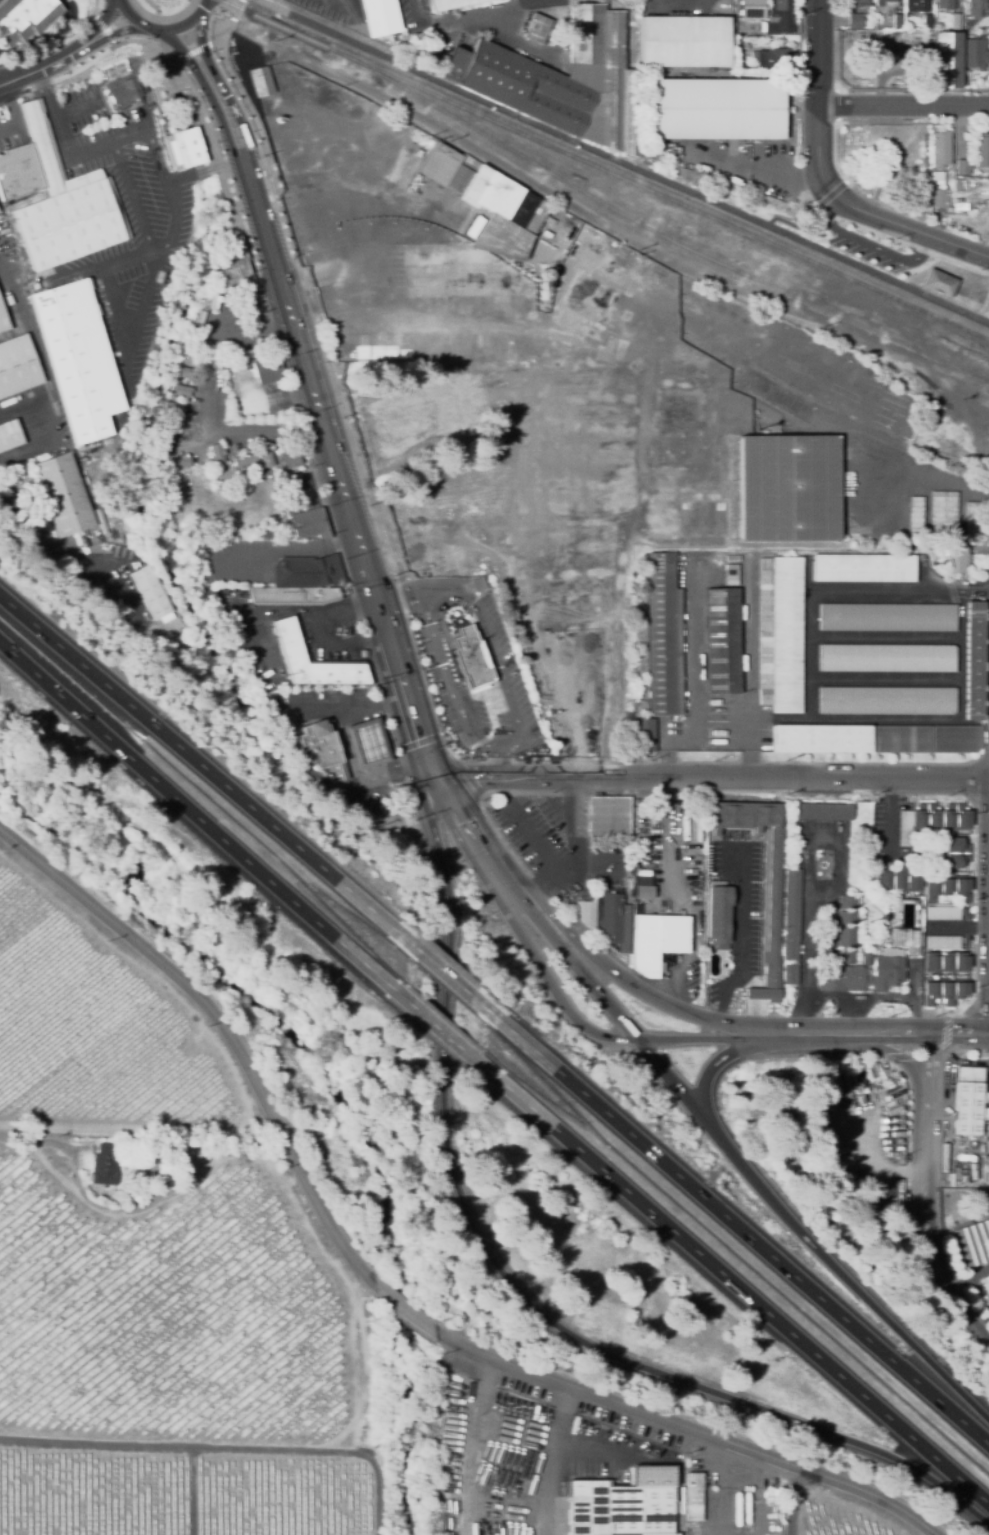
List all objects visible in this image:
road: (538, 0)
road: (541, 0)
building: (637, 2)
building: (885, 2)
road: (206, 3)
building: (856, 3)
building: (452, 4)
building: (944, 4)
building: (915, 5)
building: (978, 8)
building: (749, 10)
road: (468, 14)
building: (380, 16)
building: (779, 18)
building: (25, 20)
building: (854, 21)
building: (897, 21)
building: (927, 22)
building: (955, 22)
building: (762, 24)
road: (97, 25)
road: (162, 29)
building: (536, 29)
road: (113, 33)
building: (398, 41)
building: (684, 43)
building: (740, 44)
building: (972, 52)
road: (818, 53)
building: (988, 55)
building: (773, 59)
building: (943, 60)
road: (39, 68)
building: (116, 70)
building: (261, 81)
road: (219, 83)
building: (519, 86)
road: (204, 87)
building: (124, 91)
road: (903, 106)
road: (77, 109)
building: (715, 110)
road: (14, 114)
building: (182, 147)
building: (940, 149)
building: (983, 151)
road: (68, 157)
road: (622, 161)
building: (962, 167)
railway: (604, 170)
road: (188, 173)
building: (936, 178)
building: (957, 185)
road: (136, 191)
building: (939, 198)
building: (56, 199)
building: (960, 206)
road: (311, 207)
road: (865, 214)
building: (293, 220)
building: (586, 227)
railway: (656, 232)
road: (405, 235)
building: (482, 235)
railway: (782, 235)
road: (870, 244)
building: (235, 263)
building: (323, 273)
building: (940, 283)
building: (212, 304)
building: (587, 306)
building: (986, 307)
building: (201, 318)
building: (3, 322)
building: (429, 348)
building: (76, 358)
building: (522, 363)
building: (215, 364)
building: (17, 367)
building: (267, 369)
building: (187, 373)
building: (180, 390)
building: (782, 397)
building: (680, 403)
road: (873, 404)
building: (173, 408)
building: (419, 410)
road: (45, 432)
building: (169, 432)
building: (9, 436)
building: (674, 451)
railway: (947, 452)
building: (217, 455)
building: (290, 456)
building: (163, 459)
building: (245, 459)
building: (267, 459)
building: (182, 462)
road: (336, 470)
road: (634, 479)
building: (789, 490)
building: (63, 497)
building: (945, 515)
building: (691, 516)
building: (917, 518)
building: (972, 520)
building: (309, 524)
road: (283, 555)
building: (954, 558)
building: (864, 568)
building: (307, 572)
building: (731, 574)
building: (346, 591)
building: (149, 593)
building: (292, 594)
road: (812, 604)
road: (284, 612)
building: (888, 617)
building: (766, 631)
road: (613, 635)
building: (788, 635)
building: (664, 637)
road: (887, 637)
road: (490, 639)
road: (749, 639)
building: (722, 641)
building: (289, 643)
road: (335, 645)
building: (472, 657)
building: (888, 658)
building: (975, 662)
road: (887, 677)
road: (449, 684)
building: (888, 700)
road: (351, 705)
road: (941, 719)
road: (674, 730)
road: (748, 730)
building: (644, 735)
gas station: (341, 736)
building: (822, 738)
building: (902, 739)
building: (958, 739)
building: (367, 743)
building: (323, 749)
road: (200, 765)
road: (361, 777)
road: (712, 780)
traffic signals: (437, 782)
building: (645, 812)
building: (824, 812)
road: (575, 815)
building: (609, 817)
road: (889, 819)
building: (932, 819)
road: (199, 820)
road: (467, 828)
road: (543, 853)
building: (955, 853)
building: (916, 860)
road: (567, 861)
road: (806, 879)
building: (896, 880)
building: (947, 889)
road: (516, 890)
building: (644, 892)
building: (772, 894)
building: (846, 901)
building: (584, 911)
building: (965, 912)
building: (943, 913)
building: (793, 914)
building: (845, 916)
building: (609, 917)
building: (718, 917)
road: (741, 939)
building: (907, 940)
building: (657, 941)
building: (943, 942)
building: (845, 944)
building: (875, 947)
building: (868, 959)
building: (948, 962)
building: (889, 969)
building: (791, 974)
road: (582, 975)
building: (840, 978)
road: (546, 979)
road: (450, 981)
building: (944, 991)
road: (643, 994)
road: (877, 997)
road: (868, 1034)
road: (960, 1034)
road: (790, 1036)
road: (705, 1038)
road: (449, 1039)
road: (713, 1063)
road: (247, 1065)
road: (672, 1083)
building: (968, 1101)
building: (105, 1165)
road: (877, 1165)
building: (985, 1169)
building: (944, 1178)
road: (928, 1194)
building: (984, 1197)
road: (135, 1203)
road: (745, 1234)
building: (975, 1242)
road: (846, 1279)
road: (518, 1289)
road: (743, 1292)
road: (692, 1430)
road: (471, 1445)
road: (605, 1452)
road: (559, 1461)
road: (720, 1487)
building: (745, 1488)
road: (757, 1494)
building: (693, 1497)
road: (796, 1502)
building: (623, 1504)

